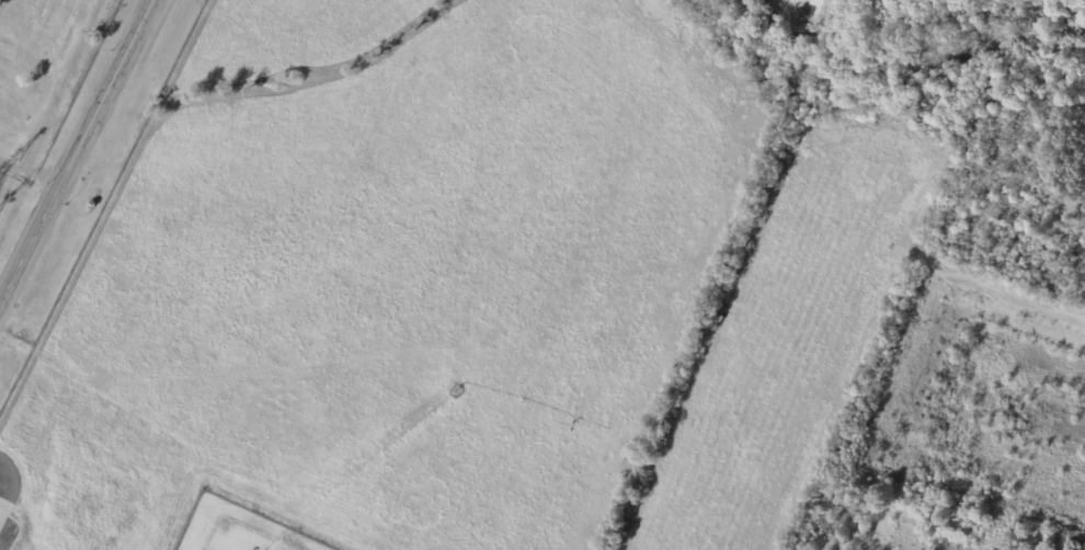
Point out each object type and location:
road: (75, 146)
airport: (542, 275)

